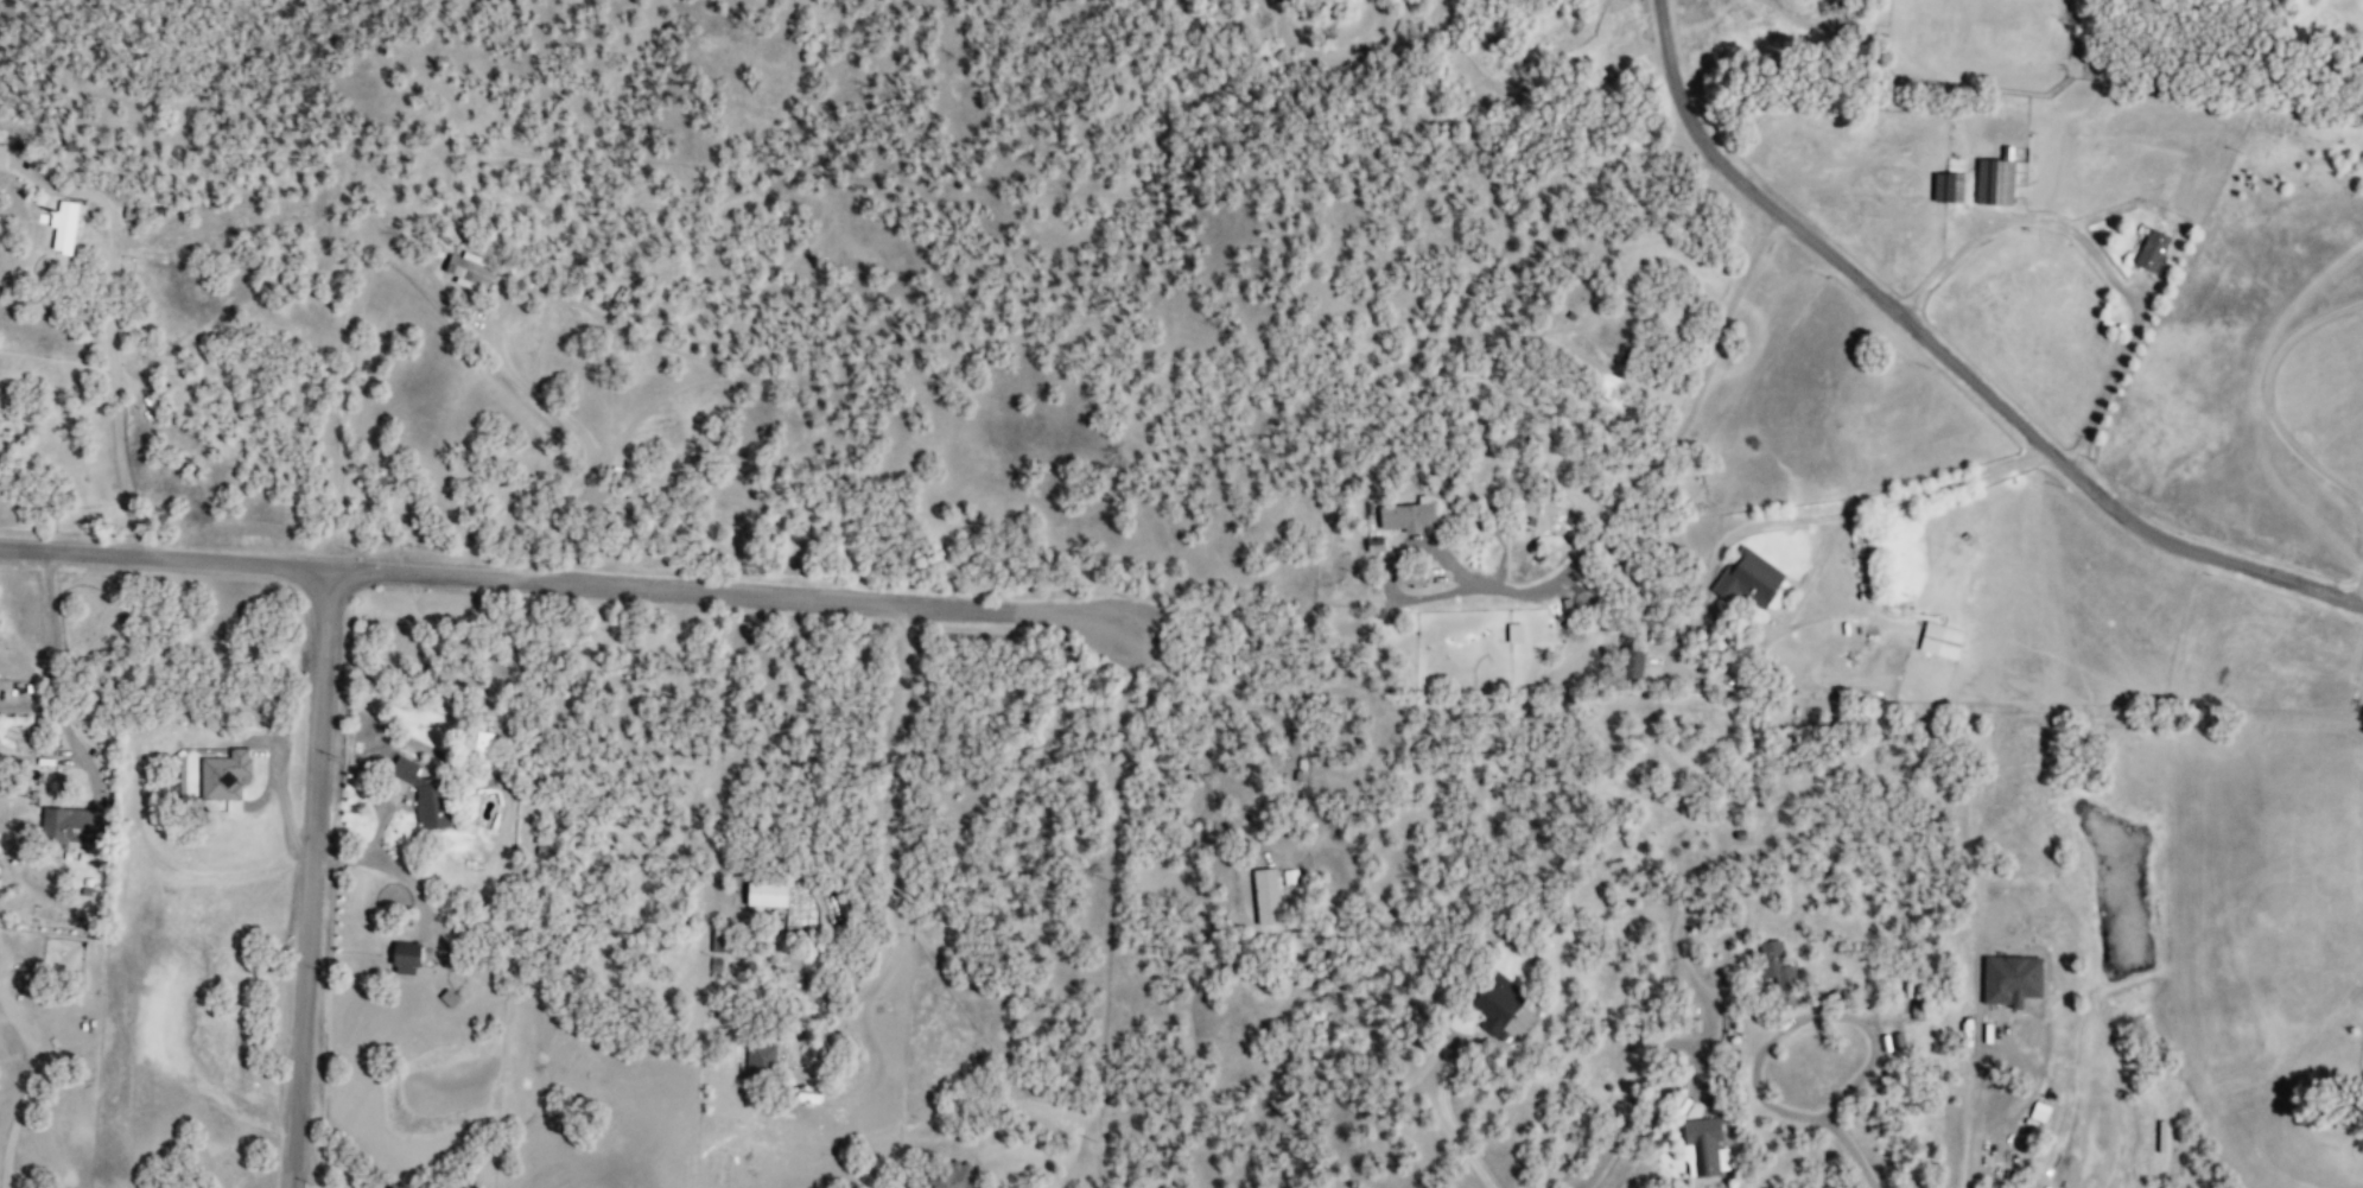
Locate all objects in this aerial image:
building: (1995, 179)
building: (1948, 188)
building: (57, 225)
building: (2152, 250)
road: (2094, 253)
building: (469, 269)
road: (109, 332)
road: (1957, 358)
road: (2266, 395)
building: (1404, 516)
building: (1372, 540)
road: (1713, 568)
building: (1747, 578)
road: (573, 585)
road: (2361, 597)
building: (1514, 633)
building: (1939, 640)
building: (1634, 663)
road: (1297, 779)
building: (421, 794)
building: (69, 824)
building: (1290, 877)
road: (316, 879)
building: (764, 894)
building: (1265, 896)
building: (716, 941)
building: (404, 958)
building: (1773, 963)
building: (716, 965)
building: (2011, 979)
building: (446, 998)
building: (1494, 1005)
road: (1805, 1018)
building: (760, 1060)
road: (1976, 1108)
building: (1703, 1148)
road: (1850, 1151)
building: (952, 1179)

